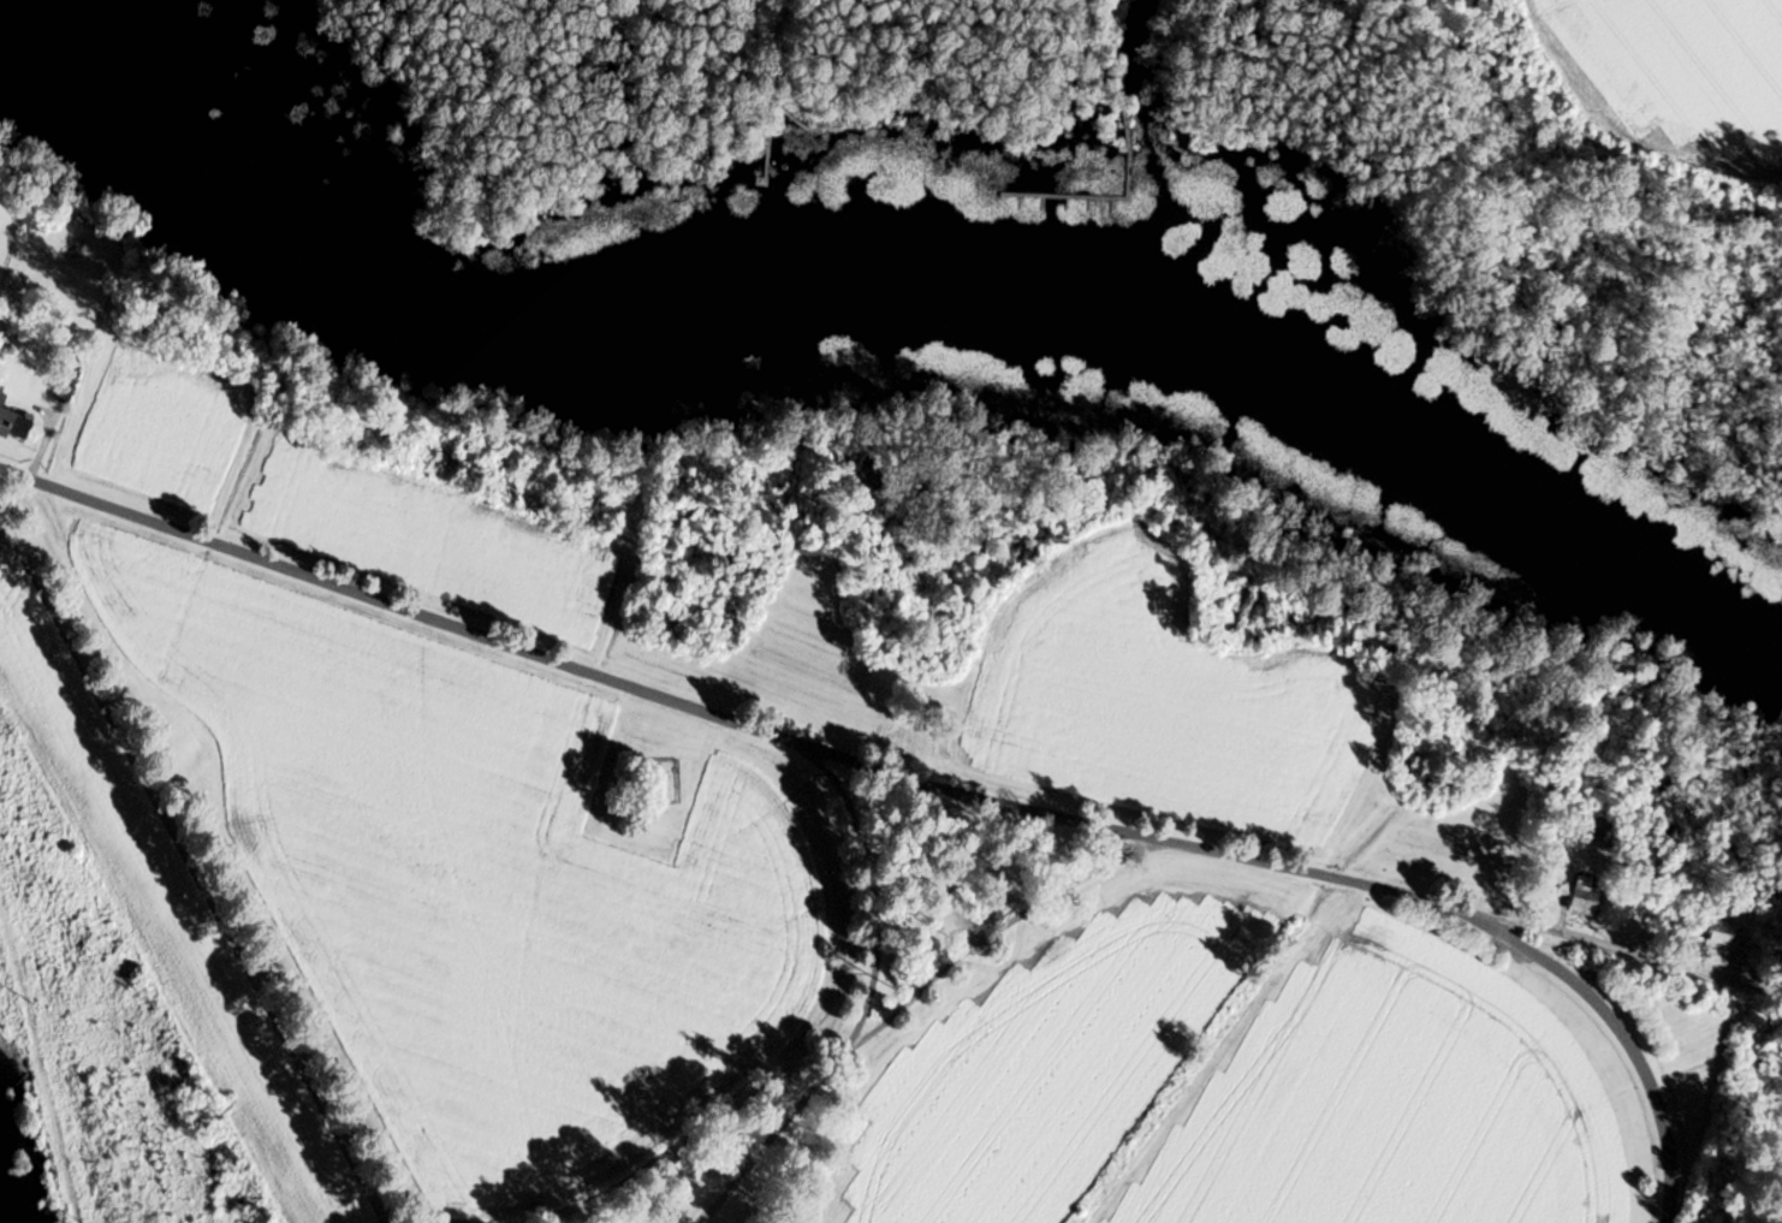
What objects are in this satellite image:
road: (773, 95)
road: (795, 120)
road: (1129, 195)
building: (16, 422)
road: (880, 766)
park: (655, 780)
road: (871, 889)
building: (1587, 898)
building: (1722, 934)
road: (907, 1001)
road: (1622, 1033)

